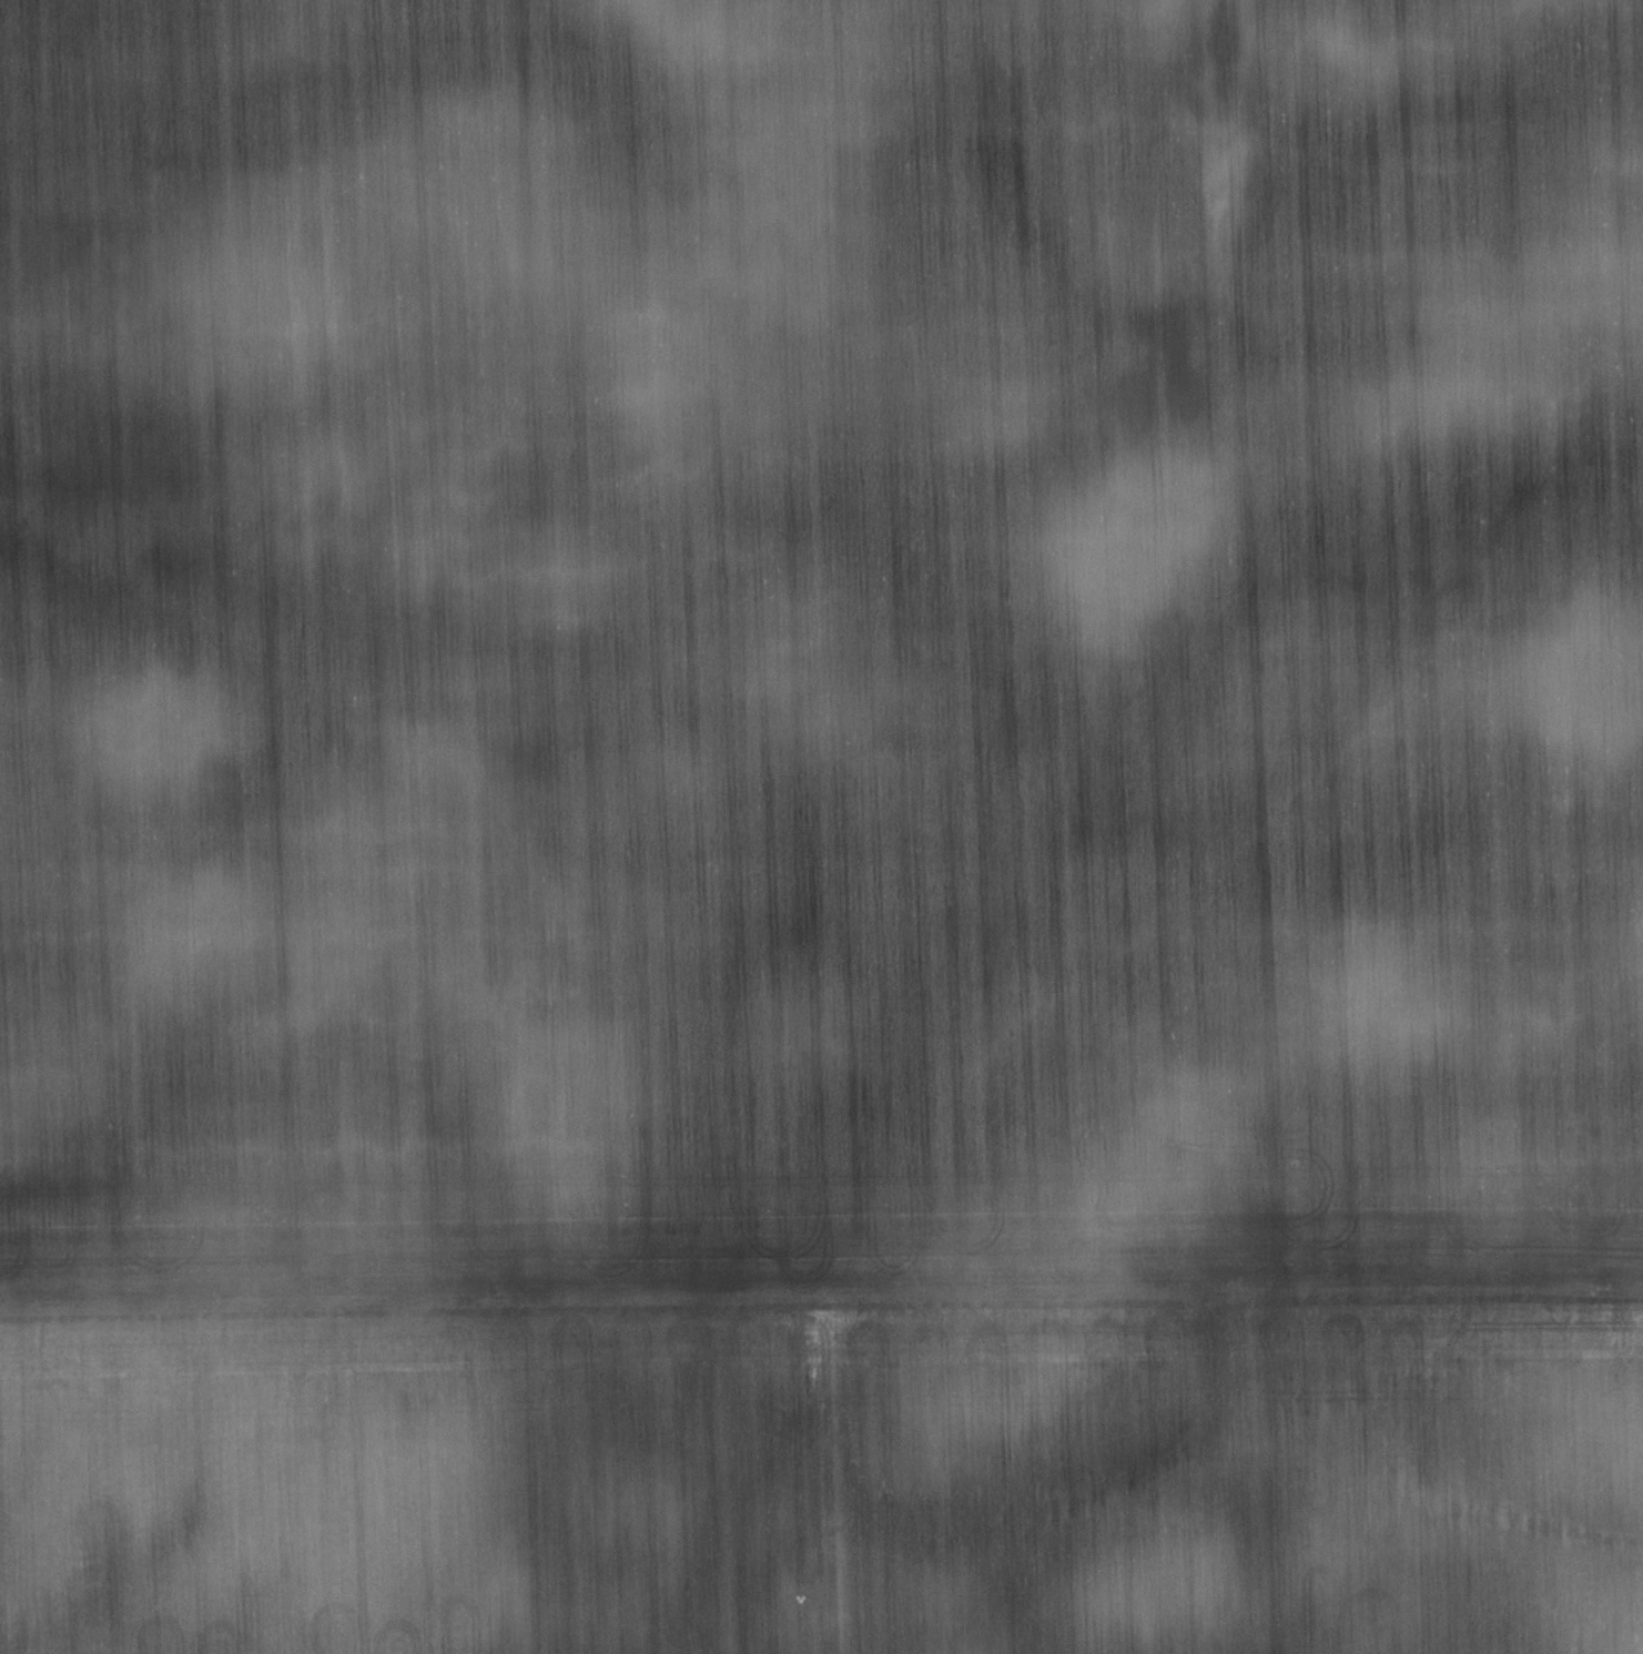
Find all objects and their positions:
crop: (821, 826)

